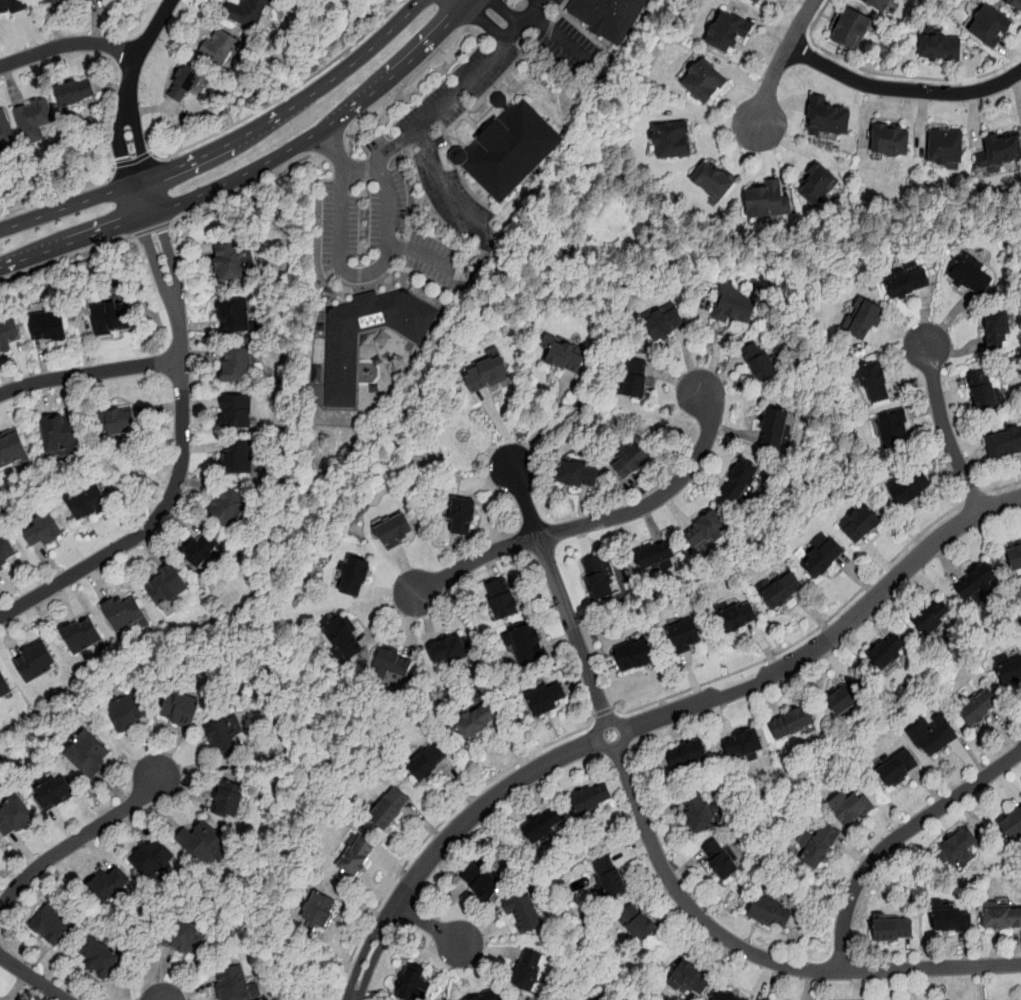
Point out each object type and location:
building: (89, 0)
building: (94, 0)
building: (759, 1)
building: (52, 2)
building: (1017, 4)
building: (11, 5)
building: (881, 5)
building: (249, 12)
road: (478, 13)
road: (493, 17)
building: (612, 17)
building: (993, 27)
building: (854, 32)
building: (729, 33)
road: (563, 40)
road: (539, 41)
road: (67, 44)
building: (220, 48)
building: (941, 49)
road: (782, 61)
road: (892, 74)
building: (183, 82)
building: (707, 83)
road: (406, 84)
road: (128, 88)
road: (902, 91)
building: (75, 93)
road: (282, 96)
road: (455, 96)
road: (477, 100)
building: (830, 118)
building: (34, 119)
building: (5, 132)
building: (891, 141)
road: (327, 143)
building: (675, 143)
road: (228, 147)
building: (948, 149)
building: (1005, 149)
building: (513, 150)
road: (339, 155)
road: (134, 168)
road: (261, 172)
building: (716, 183)
building: (820, 186)
road: (241, 189)
road: (449, 193)
road: (55, 195)
building: (769, 204)
road: (151, 229)
road: (426, 255)
road: (65, 258)
building: (234, 262)
road: (367, 275)
building: (972, 277)
building: (908, 283)
building: (738, 306)
building: (236, 316)
building: (111, 319)
building: (863, 319)
building: (666, 324)
building: (49, 326)
building: (998, 331)
building: (9, 336)
road: (714, 349)
building: (567, 358)
building: (762, 363)
building: (241, 366)
road: (89, 373)
building: (489, 374)
building: (343, 378)
building: (638, 380)
building: (878, 383)
building: (984, 392)
building: (239, 413)
road: (941, 419)
building: (117, 423)
road: (549, 424)
road: (501, 428)
building: (777, 429)
building: (895, 431)
building: (62, 436)
road: (183, 445)
building: (1004, 445)
building: (12, 451)
building: (240, 459)
building: (633, 462)
building: (581, 476)
building: (744, 482)
road: (1004, 487)
building: (909, 489)
road: (974, 495)
road: (974, 497)
road: (657, 499)
road: (1010, 500)
building: (89, 503)
building: (229, 508)
road: (980, 510)
building: (465, 517)
building: (861, 525)
building: (397, 531)
building: (45, 532)
building: (709, 534)
building: (6, 551)
building: (202, 552)
building: (824, 556)
building: (658, 557)
building: (1016, 560)
road: (472, 561)
building: (357, 578)
building: (600, 580)
building: (978, 583)
building: (169, 587)
building: (783, 593)
road: (560, 595)
building: (505, 601)
building: (125, 615)
building: (933, 619)
building: (739, 620)
building: (686, 637)
road: (805, 637)
building: (84, 638)
building: (346, 639)
building: (529, 646)
building: (451, 652)
road: (809, 652)
building: (889, 652)
building: (636, 656)
building: (36, 664)
building: (395, 664)
building: (1010, 671)
building: (4, 689)
building: (848, 698)
building: (549, 701)
building: (977, 706)
building: (182, 711)
building: (128, 713)
road: (603, 713)
building: (479, 723)
building: (795, 724)
road: (599, 727)
building: (931, 732)
building: (228, 738)
building: (747, 746)
building: (89, 756)
building: (688, 757)
building: (430, 765)
building: (895, 765)
building: (56, 795)
building: (592, 798)
building: (230, 803)
building: (850, 805)
building: (392, 811)
building: (698, 813)
building: (16, 818)
building: (1011, 823)
building: (544, 826)
road: (435, 828)
road: (896, 838)
road: (77, 839)
road: (445, 841)
building: (203, 845)
building: (820, 845)
building: (958, 846)
building: (720, 859)
building: (359, 860)
building: (154, 861)
building: (609, 877)
building: (482, 882)
building: (110, 888)
building: (525, 910)
building: (769, 911)
building: (321, 913)
building: (1000, 914)
building: (950, 917)
building: (637, 921)
road: (432, 926)
building: (890, 927)
building: (53, 928)
building: (184, 941)
road: (760, 956)
building: (101, 960)
building: (531, 970)
road: (32, 977)
building: (688, 977)
building: (415, 984)
building: (235, 985)
building: (491, 996)
building: (727, 996)

